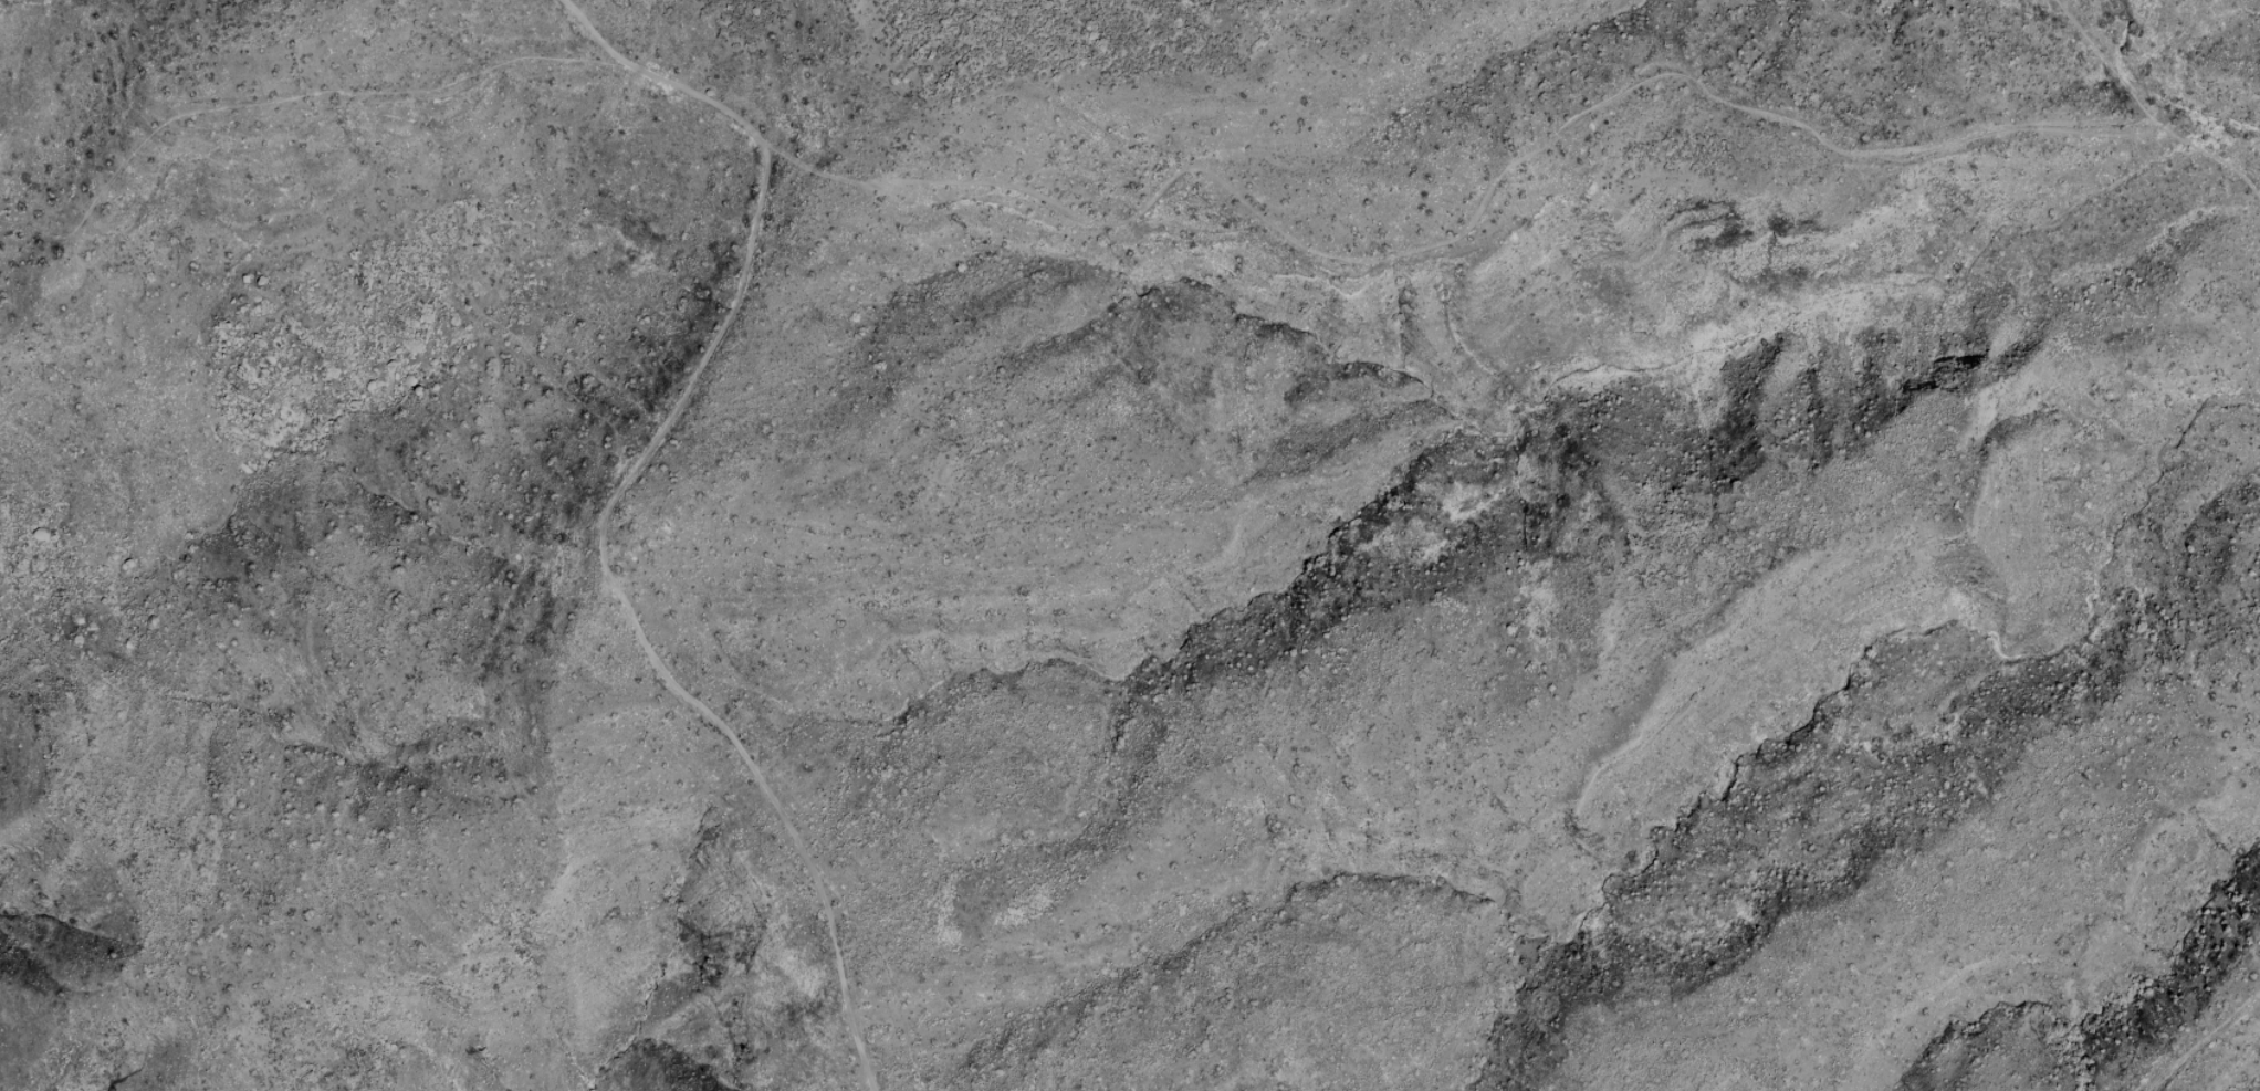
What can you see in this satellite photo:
road: (579, 520)

